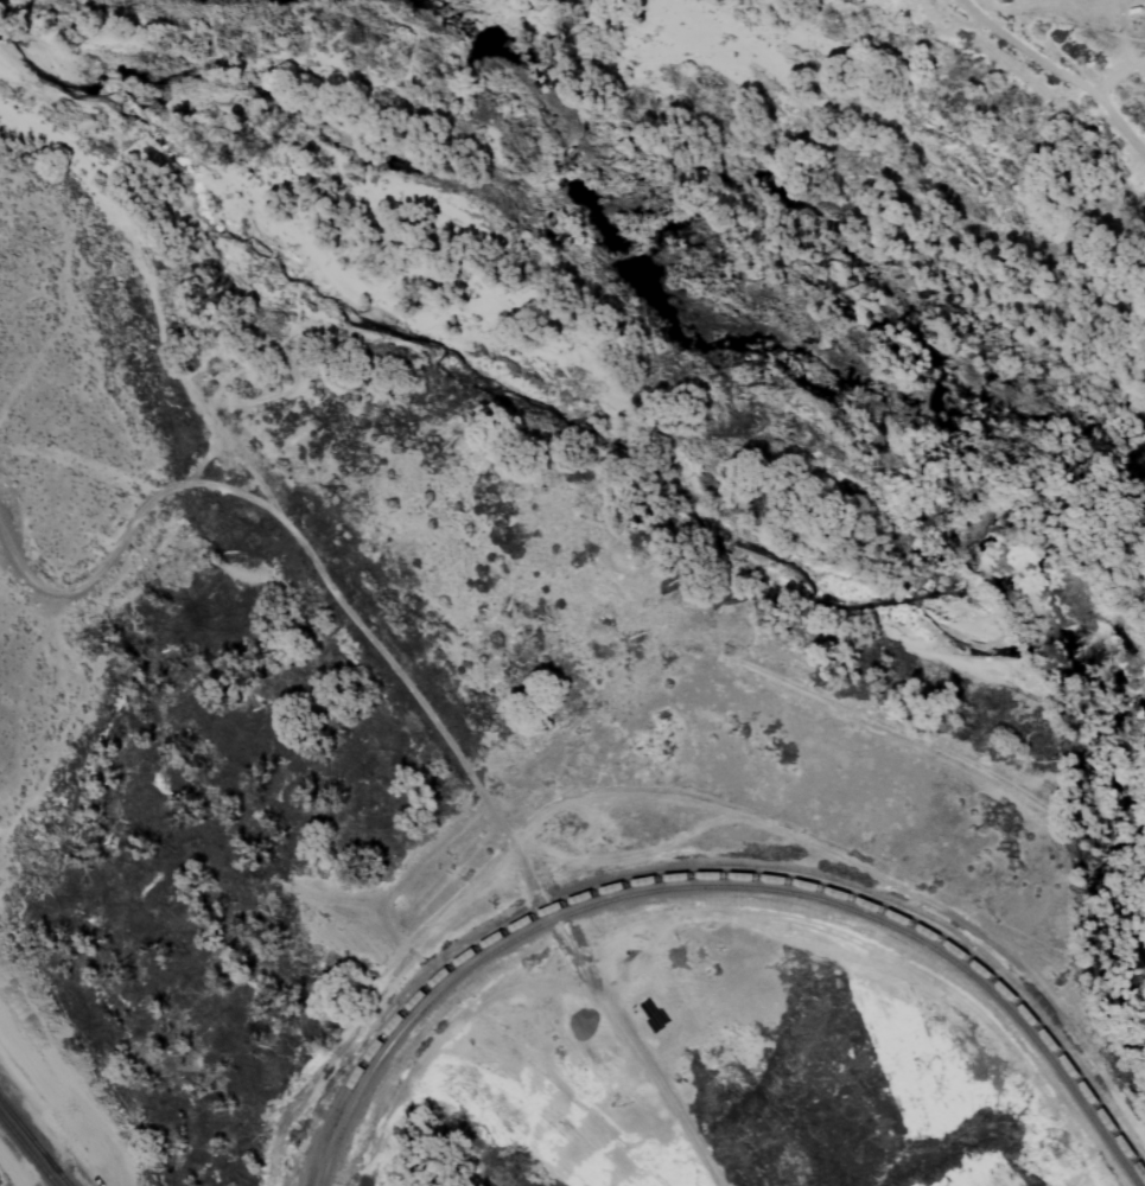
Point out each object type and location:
river: (670, 294)
road: (408, 691)
railway: (720, 886)
railway: (724, 895)
railway: (28, 1135)
railway: (28, 1136)
railway: (27, 1150)
railway: (63, 1178)

